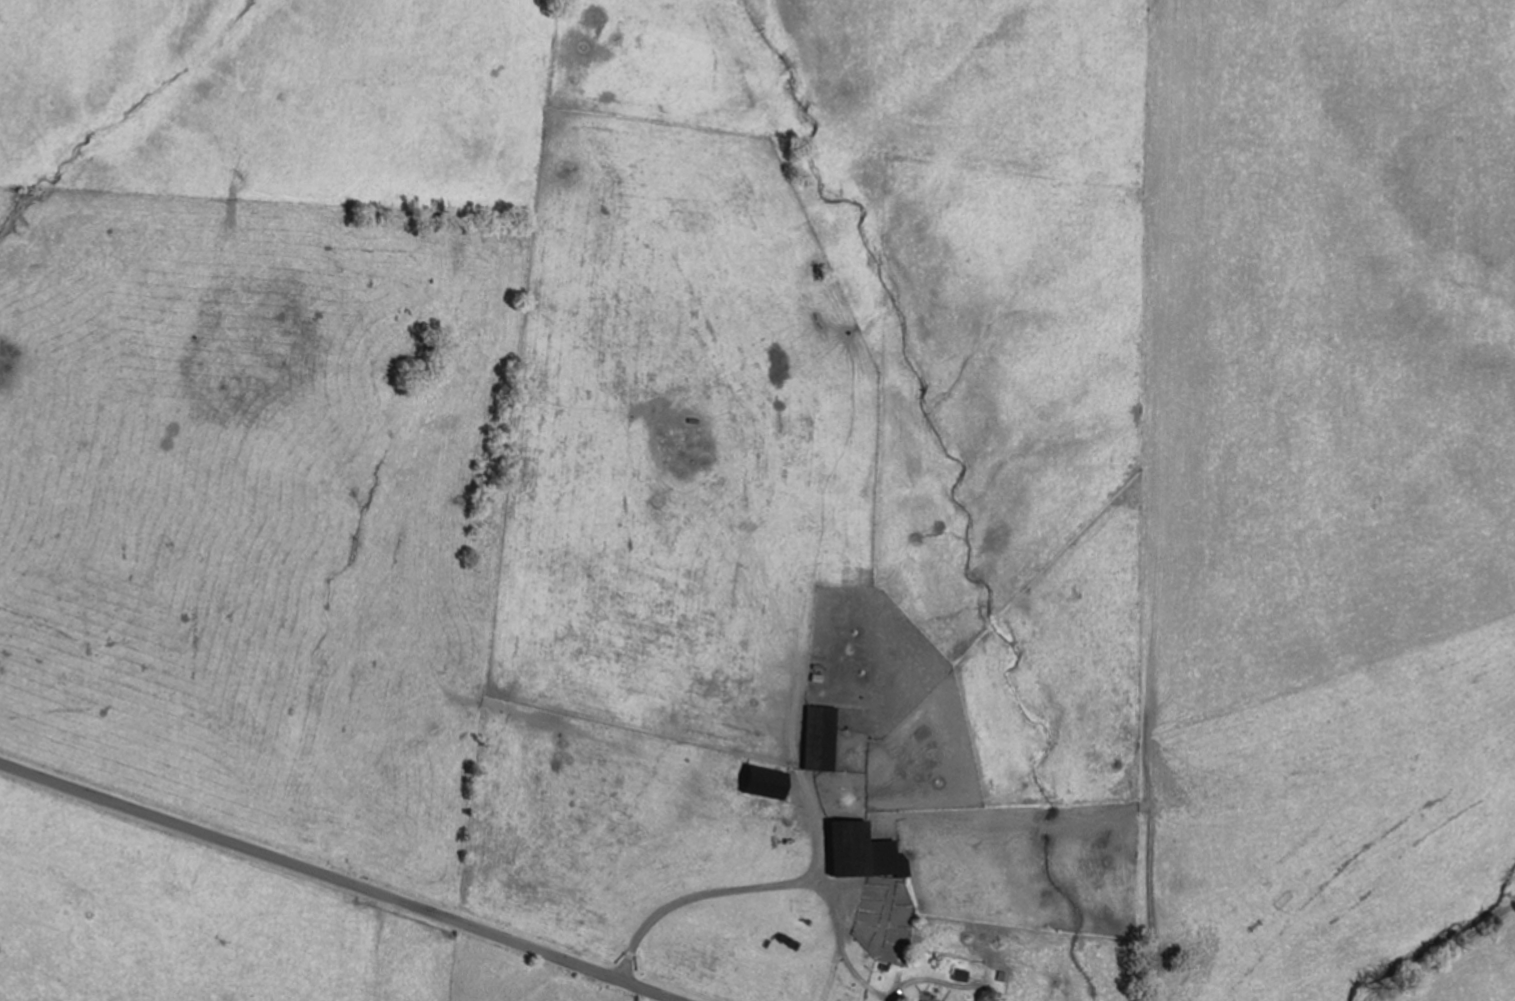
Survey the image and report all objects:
building: (757, 783)
building: (853, 852)
road: (338, 880)

